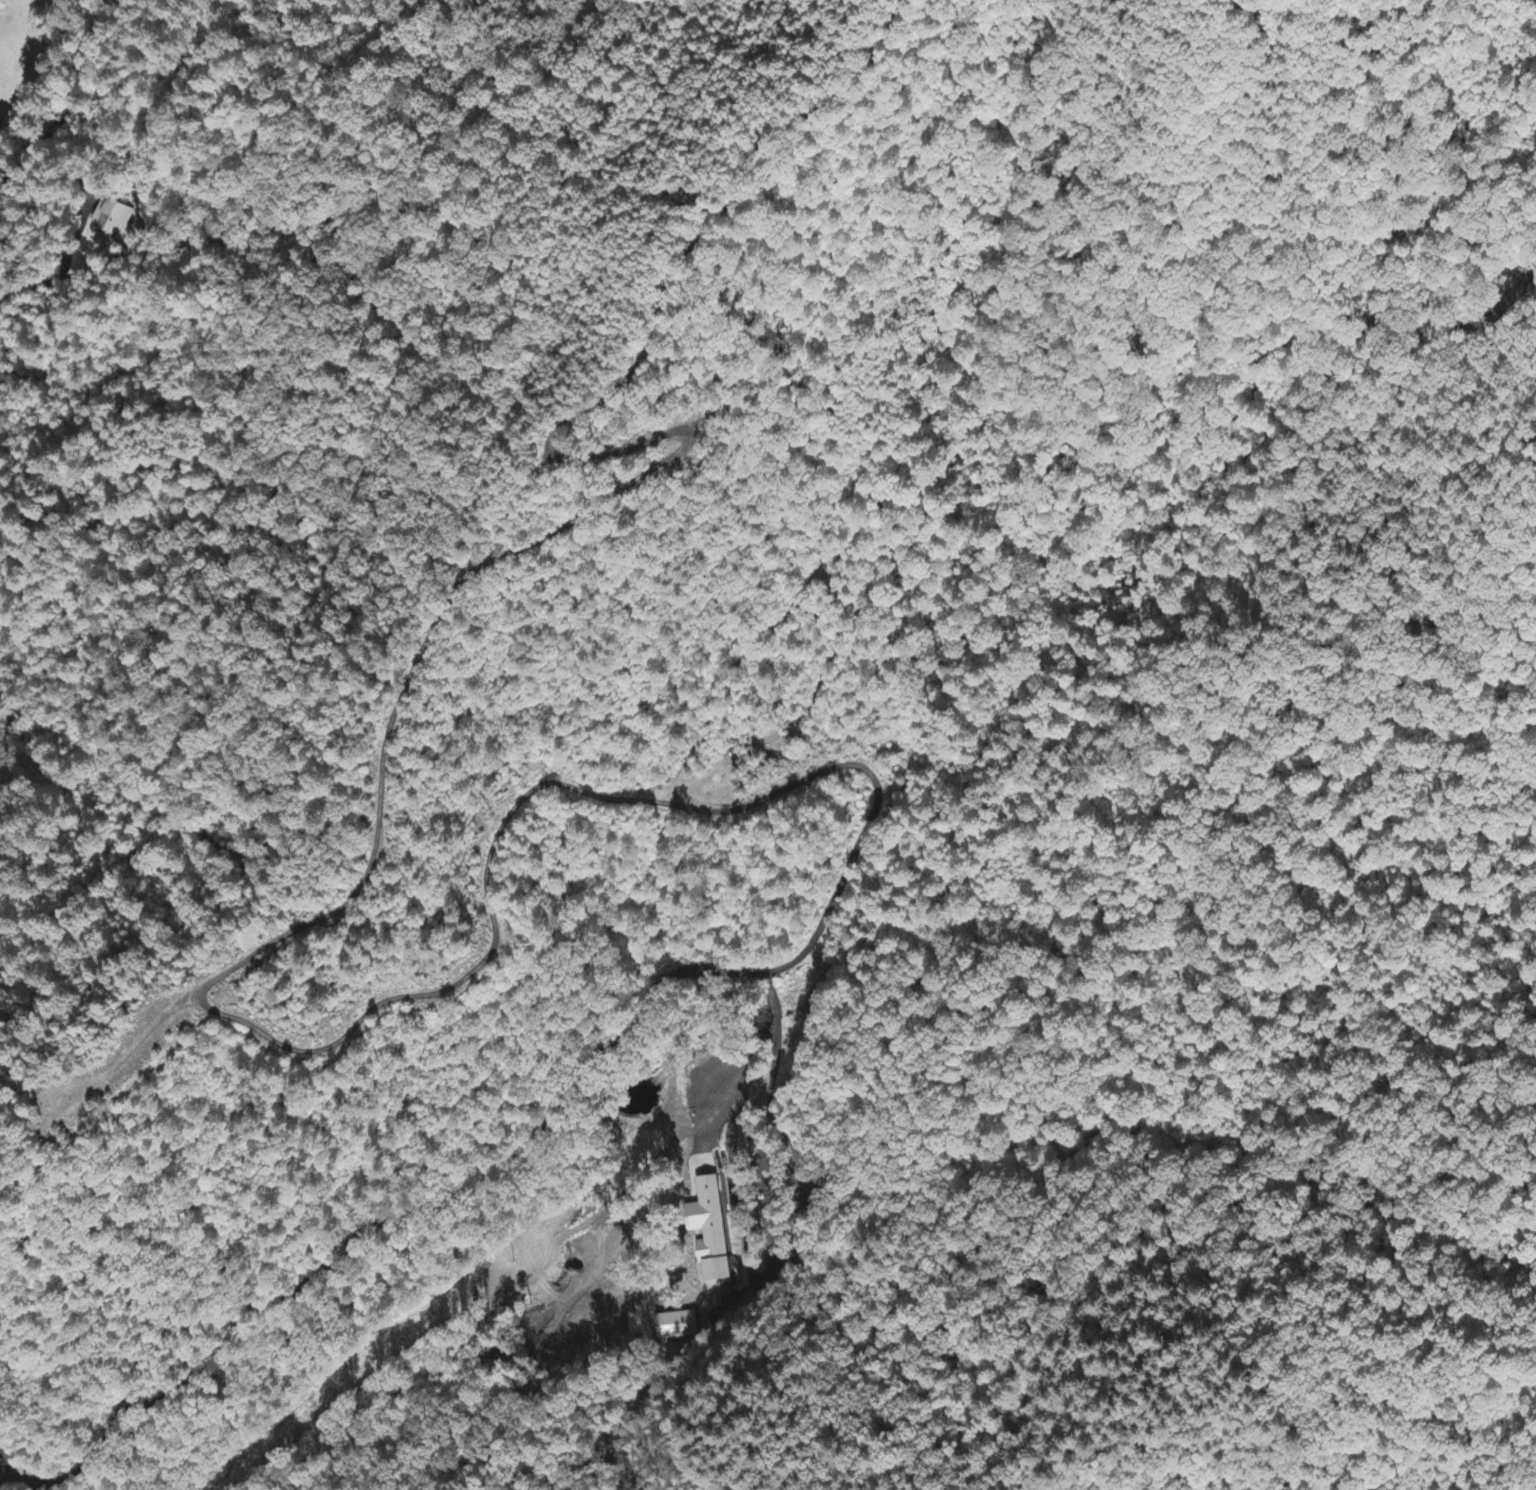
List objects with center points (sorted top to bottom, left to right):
road: (80, 116)
building: (112, 217)
building: (708, 1231)
road: (389, 1246)

